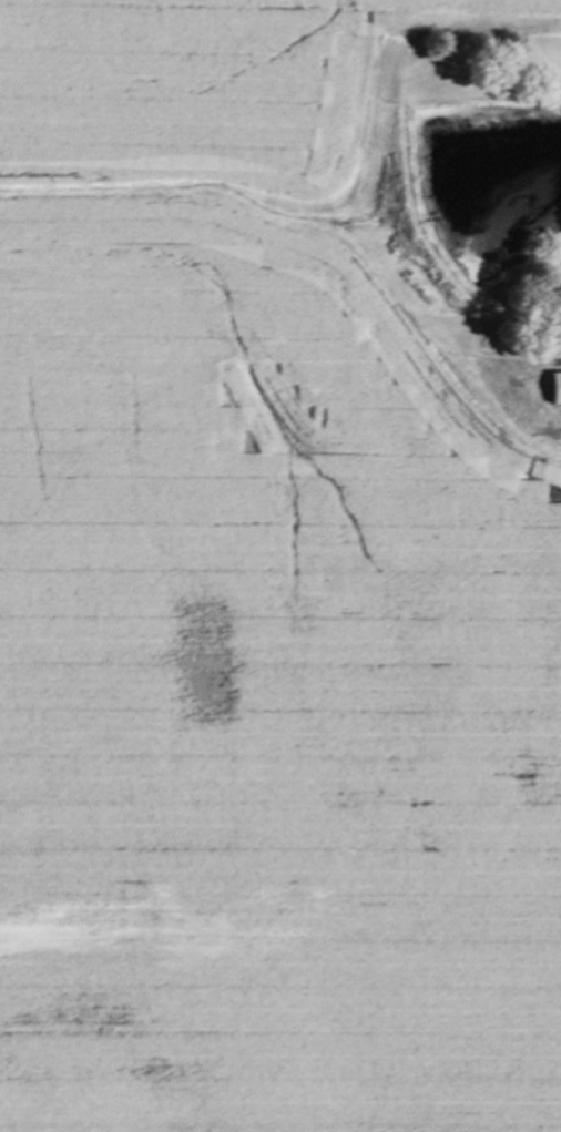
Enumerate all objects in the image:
building: (555, 385)

